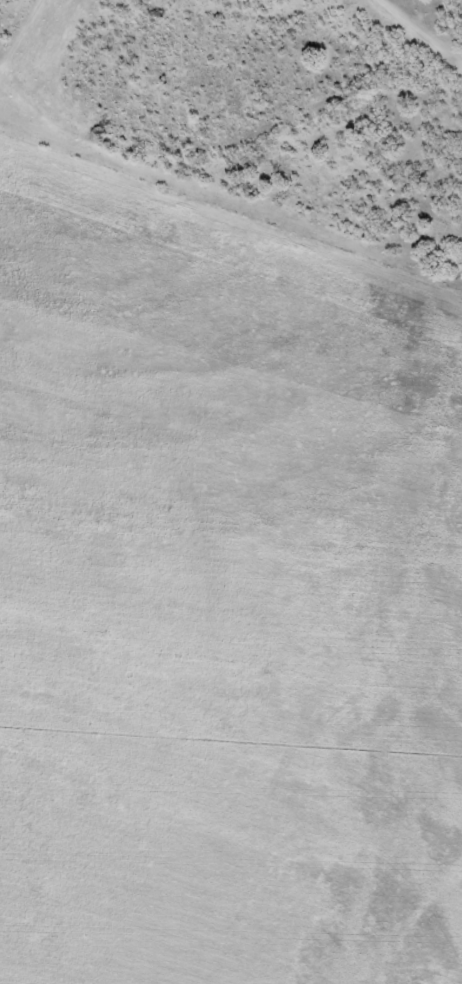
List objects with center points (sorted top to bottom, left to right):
road: (429, 24)

